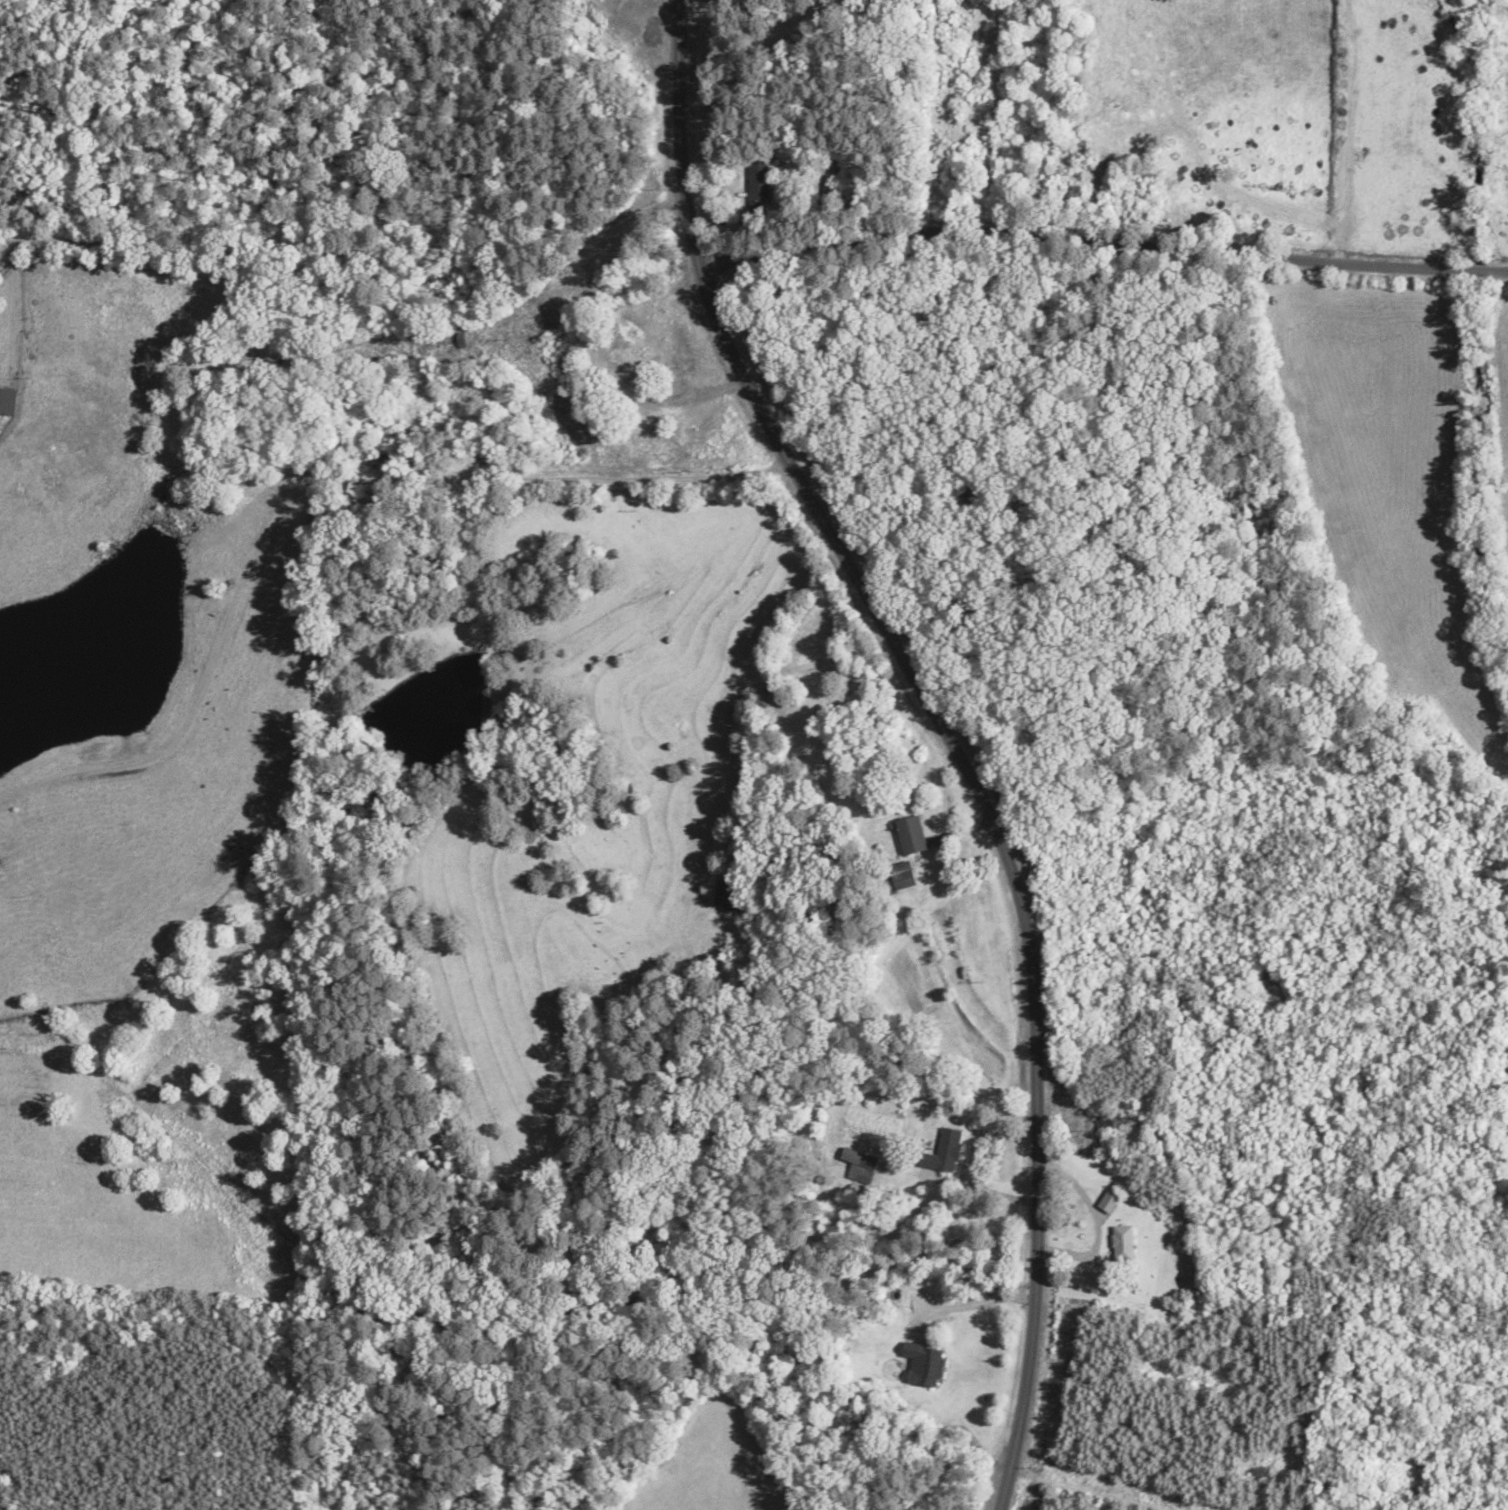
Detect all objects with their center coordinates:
building: (756, 188)
road: (663, 218)
road: (368, 246)
road: (1110, 257)
building: (555, 345)
building: (6, 403)
road: (948, 731)
building: (910, 837)
building: (901, 877)
building: (727, 896)
building: (1107, 1119)
building: (942, 1154)
building: (859, 1168)
building: (1121, 1246)
building: (923, 1367)
road: (1133, 1453)

